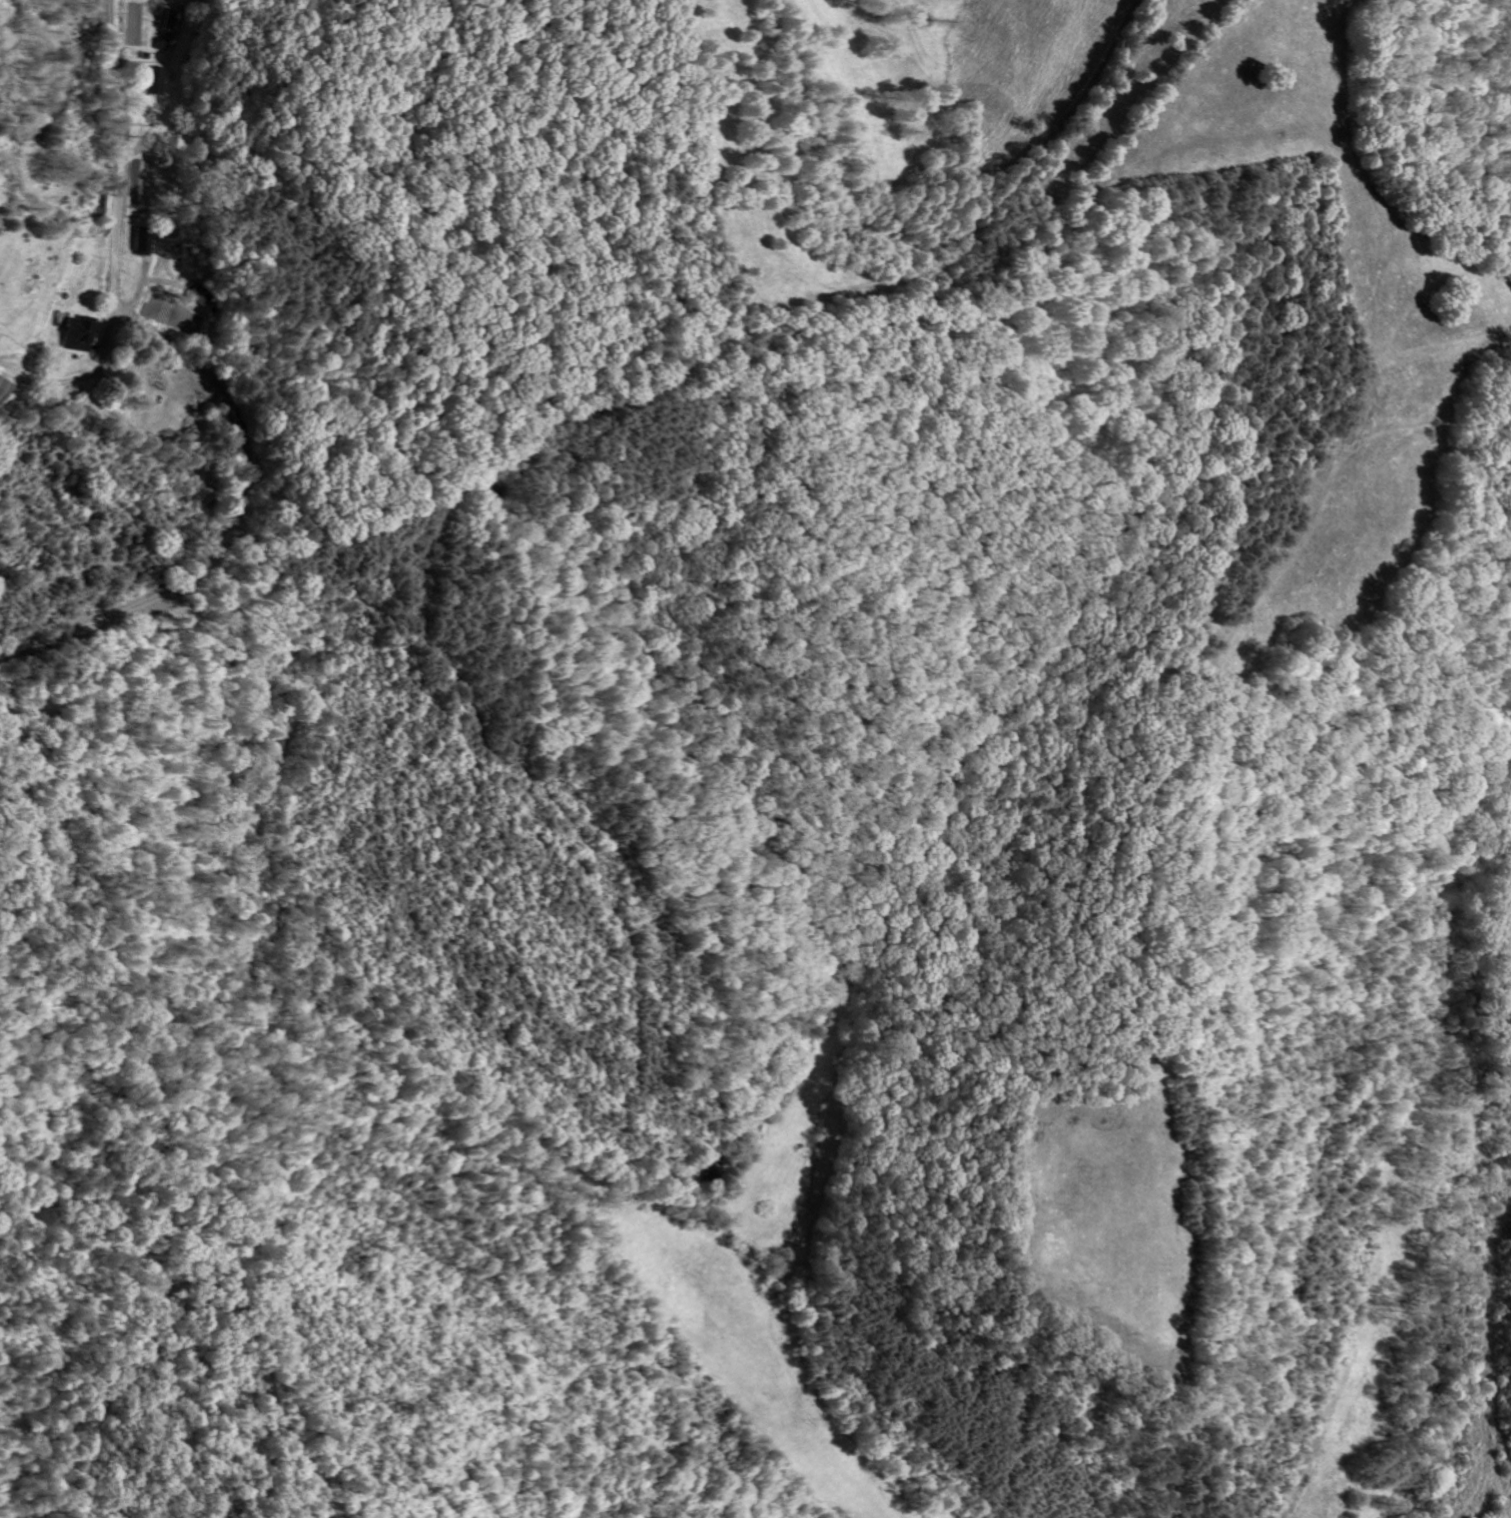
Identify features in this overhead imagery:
road: (112, 64)
building: (160, 80)
road: (120, 222)
building: (81, 334)
building: (7, 390)

